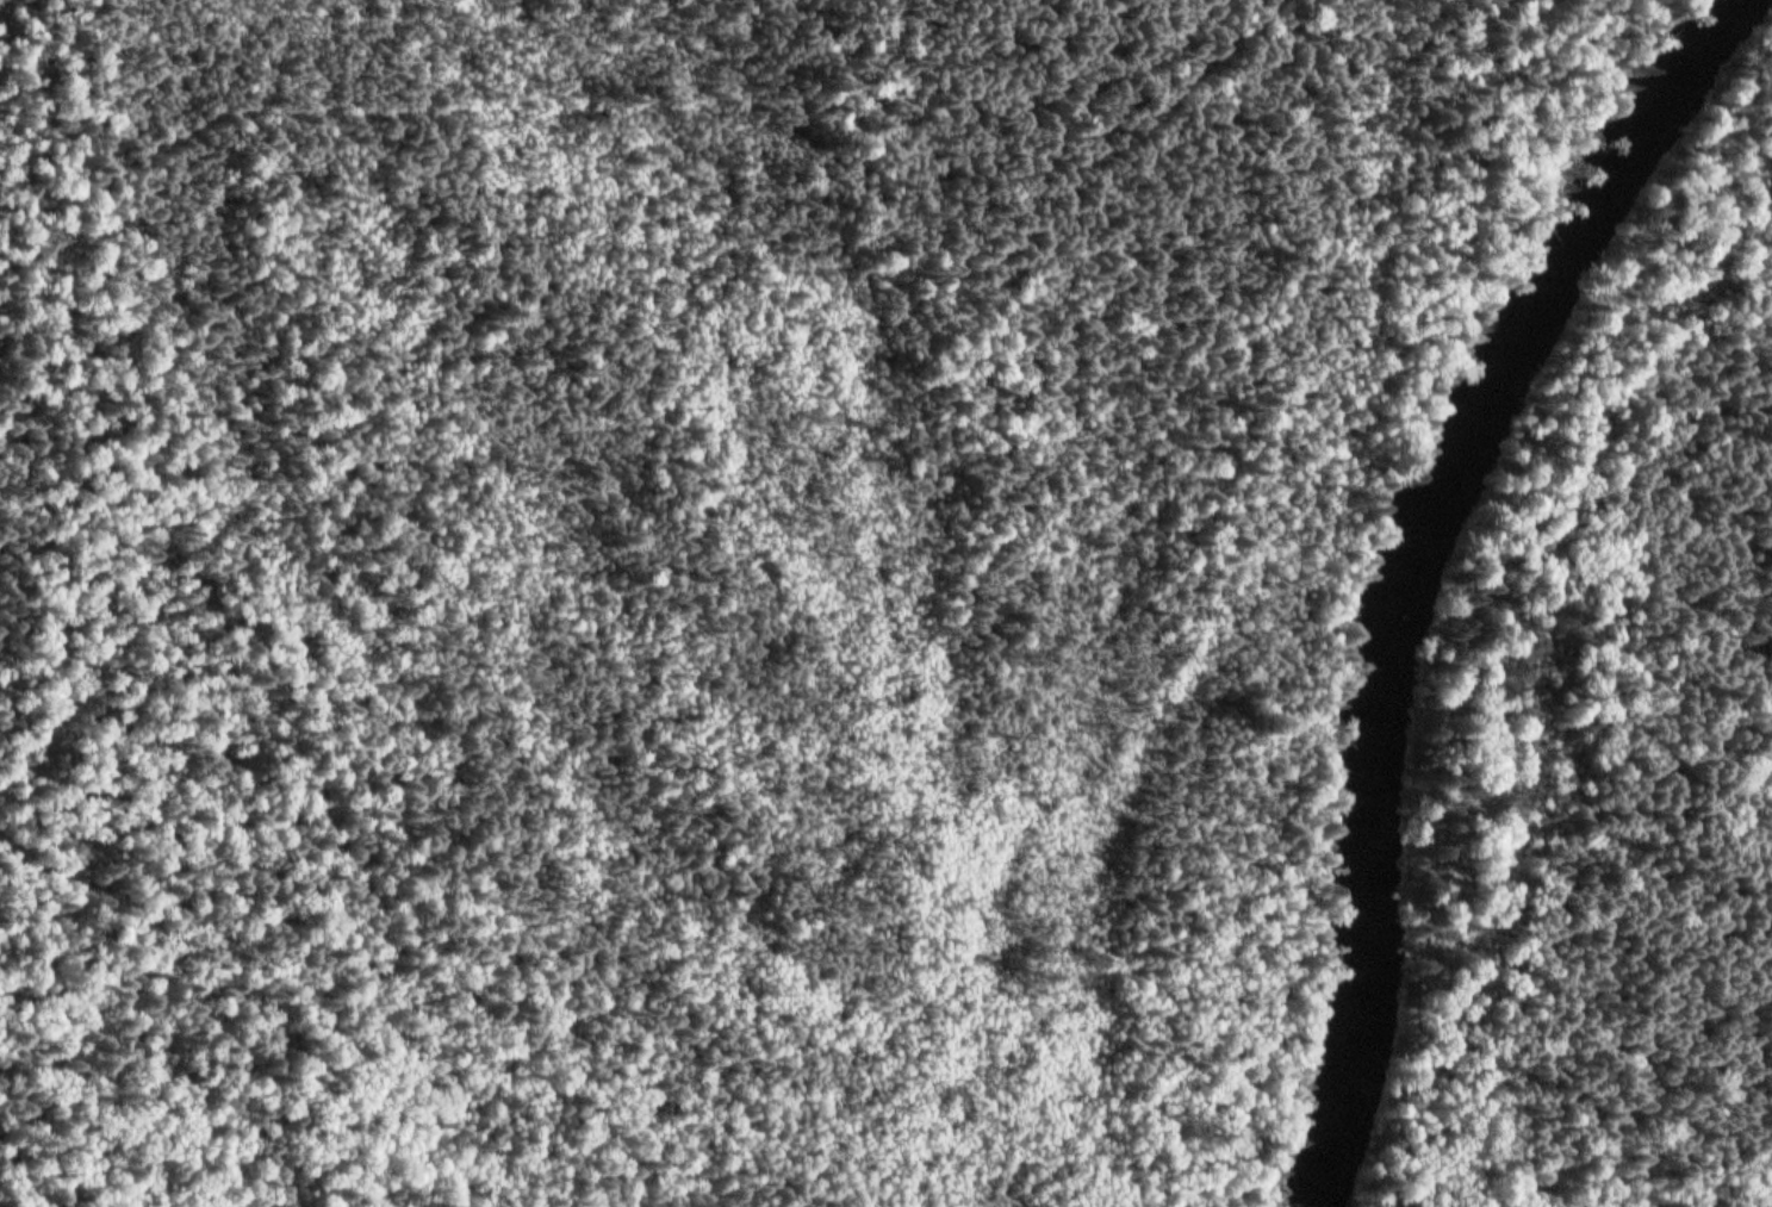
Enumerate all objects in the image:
river: (1409, 566)

